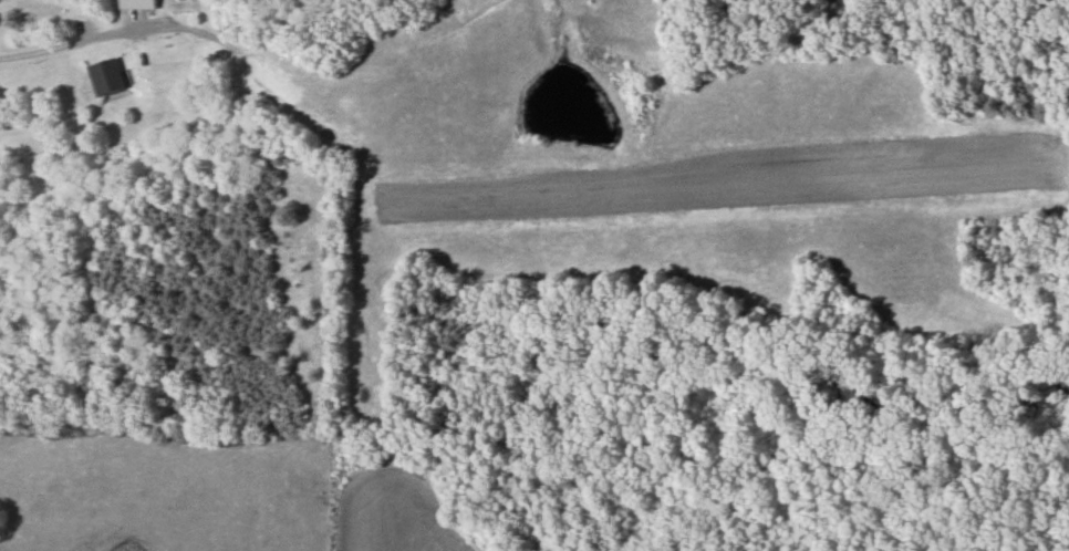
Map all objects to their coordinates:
building: (136, 4)
road: (74, 40)
building: (105, 77)

